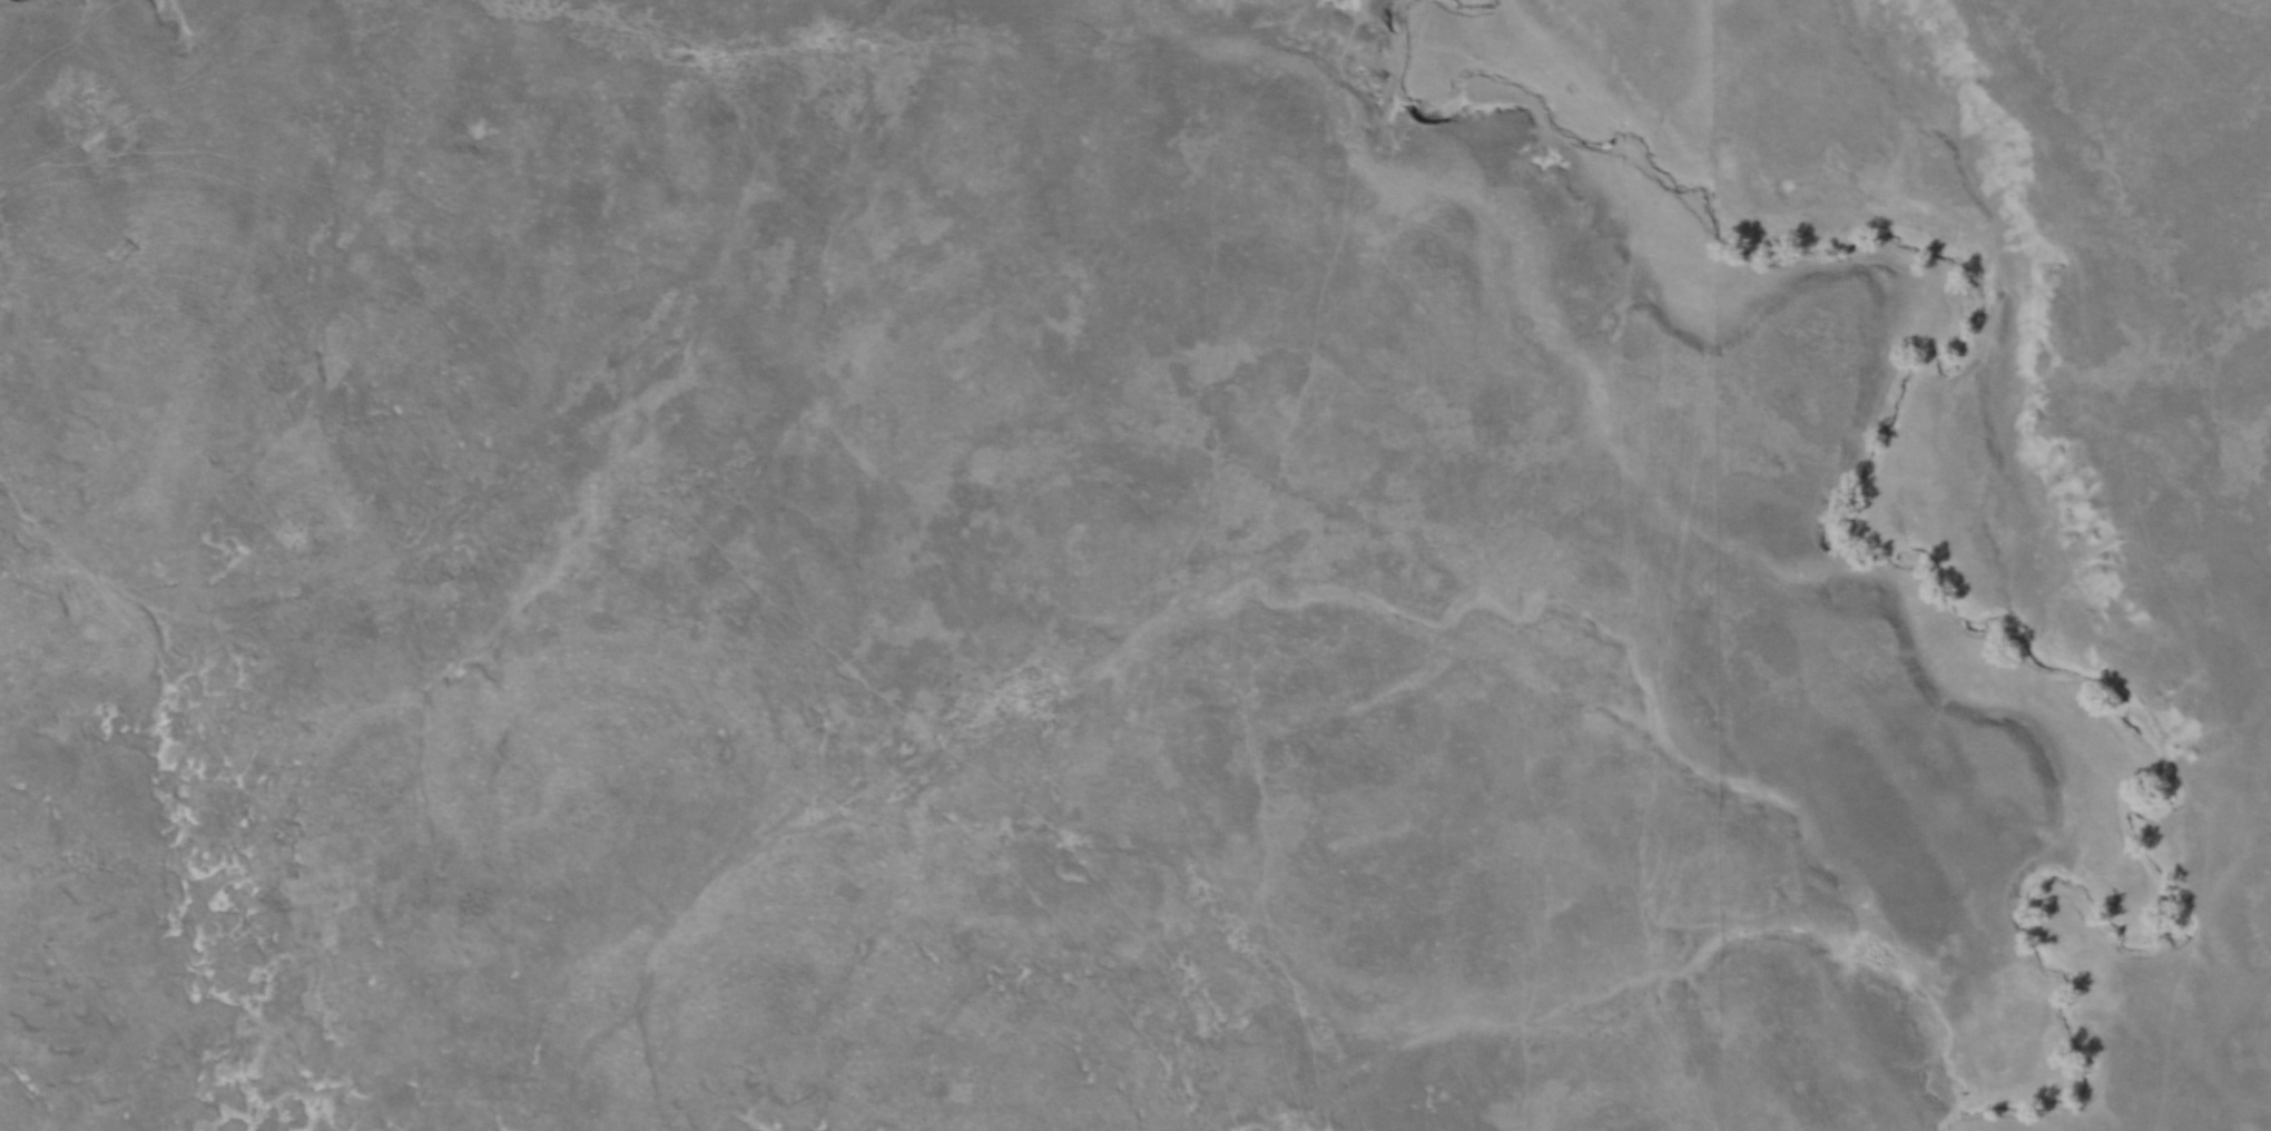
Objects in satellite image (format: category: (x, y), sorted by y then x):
power tower: (114, 258)

